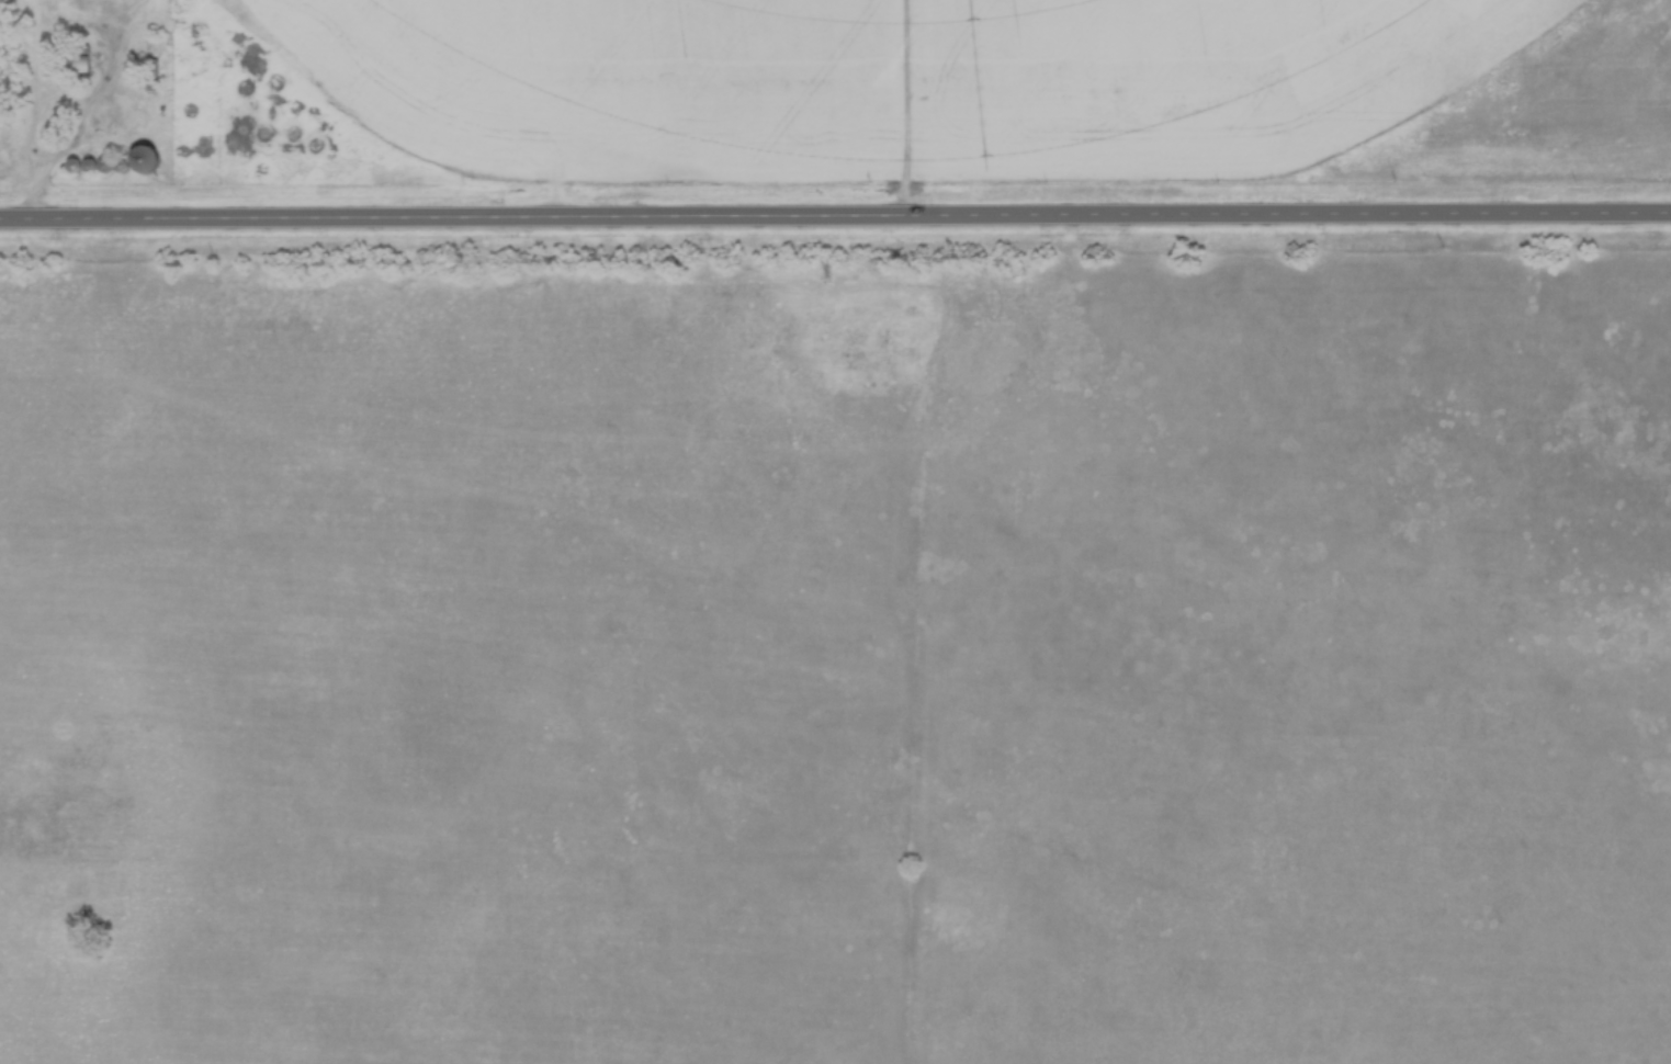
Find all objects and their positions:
road: (44, 30)
building: (78, 65)
building: (153, 76)
building: (99, 123)
building: (147, 160)
building: (74, 167)
building: (106, 167)
road: (35, 197)
road: (835, 213)

